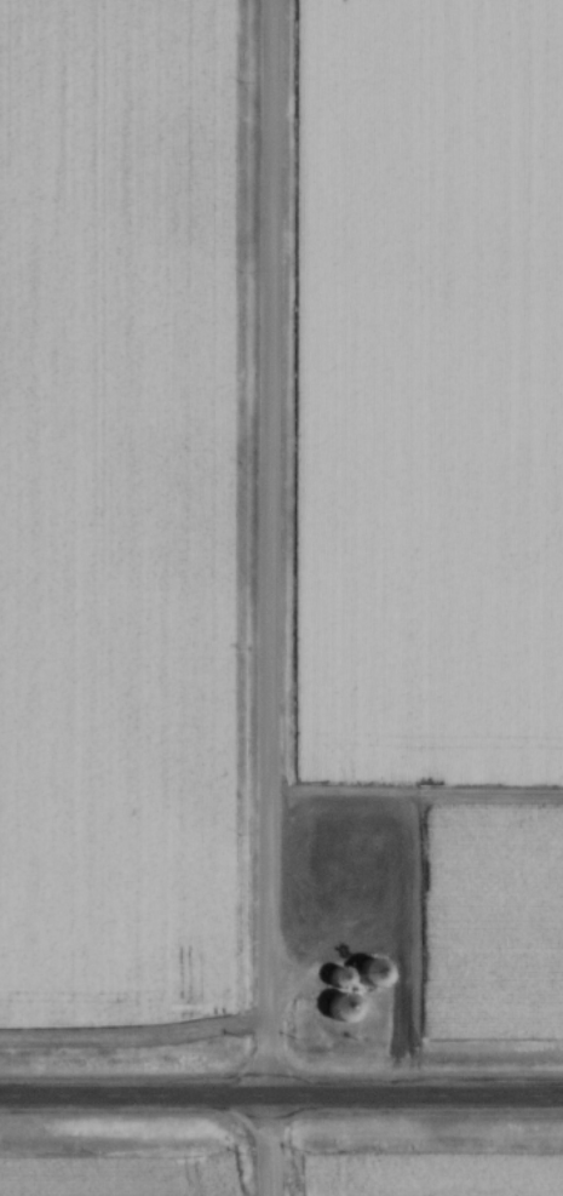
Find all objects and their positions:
road: (272, 597)
building: (363, 974)
building: (329, 979)
building: (333, 1008)
road: (281, 1100)

